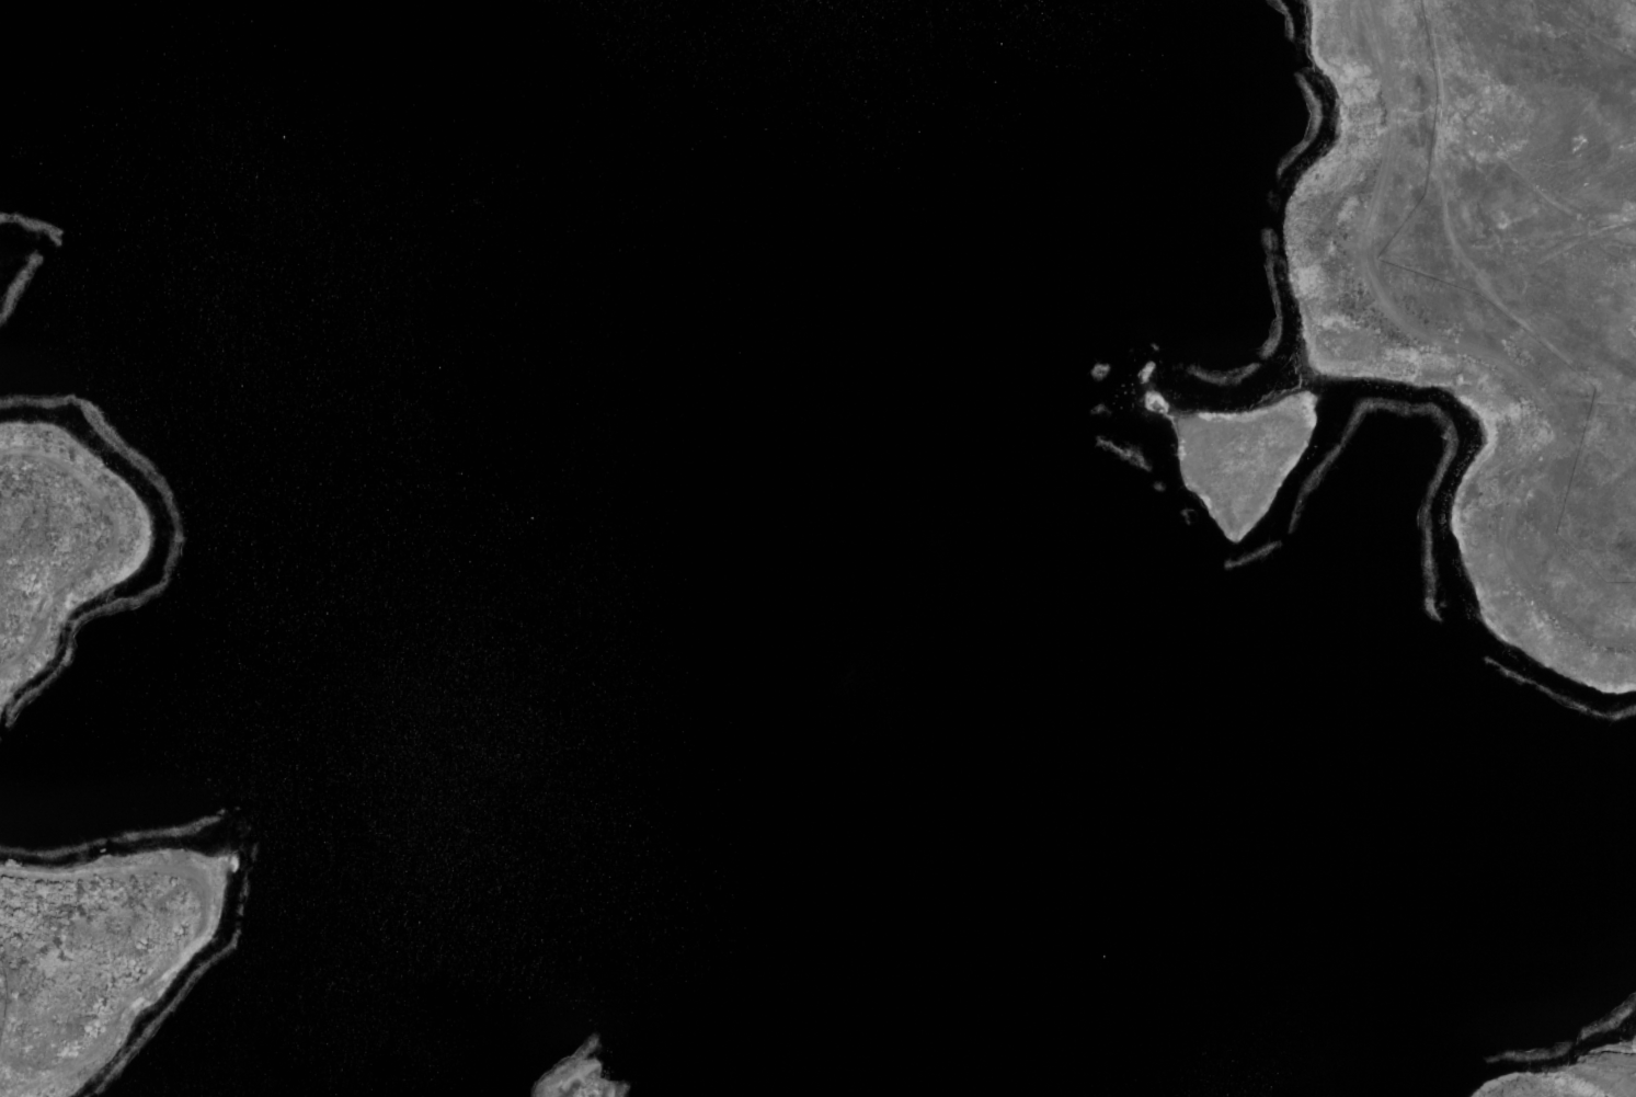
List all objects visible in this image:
road: (1514, 316)
road: (1445, 343)

